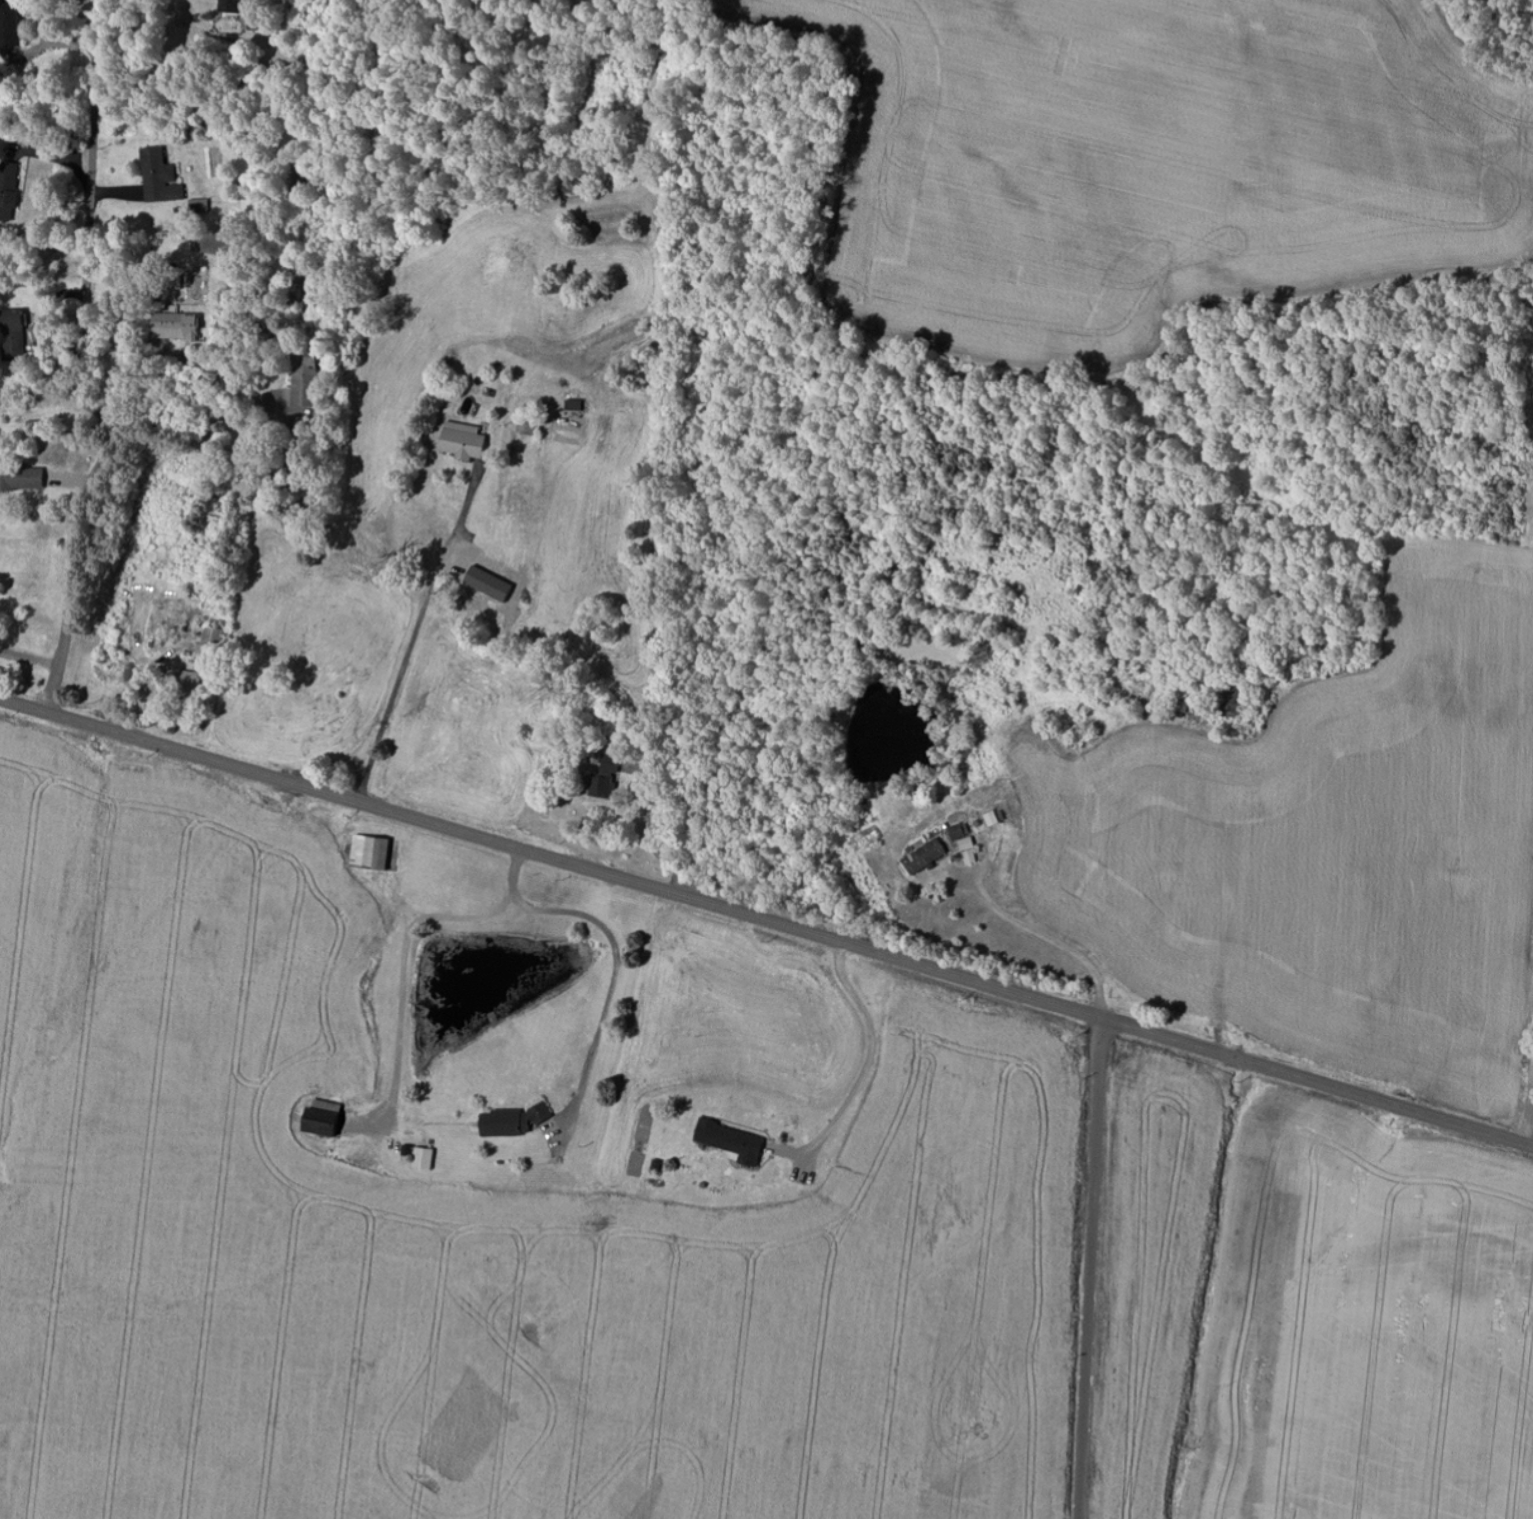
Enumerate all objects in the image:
building: (165, 177)
building: (12, 187)
building: (170, 278)
building: (168, 326)
road: (84, 368)
building: (294, 380)
road: (226, 386)
building: (462, 441)
building: (20, 478)
building: (608, 765)
building: (598, 787)
building: (959, 831)
building: (967, 851)
building: (366, 853)
building: (923, 856)
road: (1521, 865)
road: (755, 918)
building: (319, 1120)
building: (509, 1121)
building: (729, 1142)
road: (1521, 1143)
building: (421, 1159)
road: (1089, 1269)

